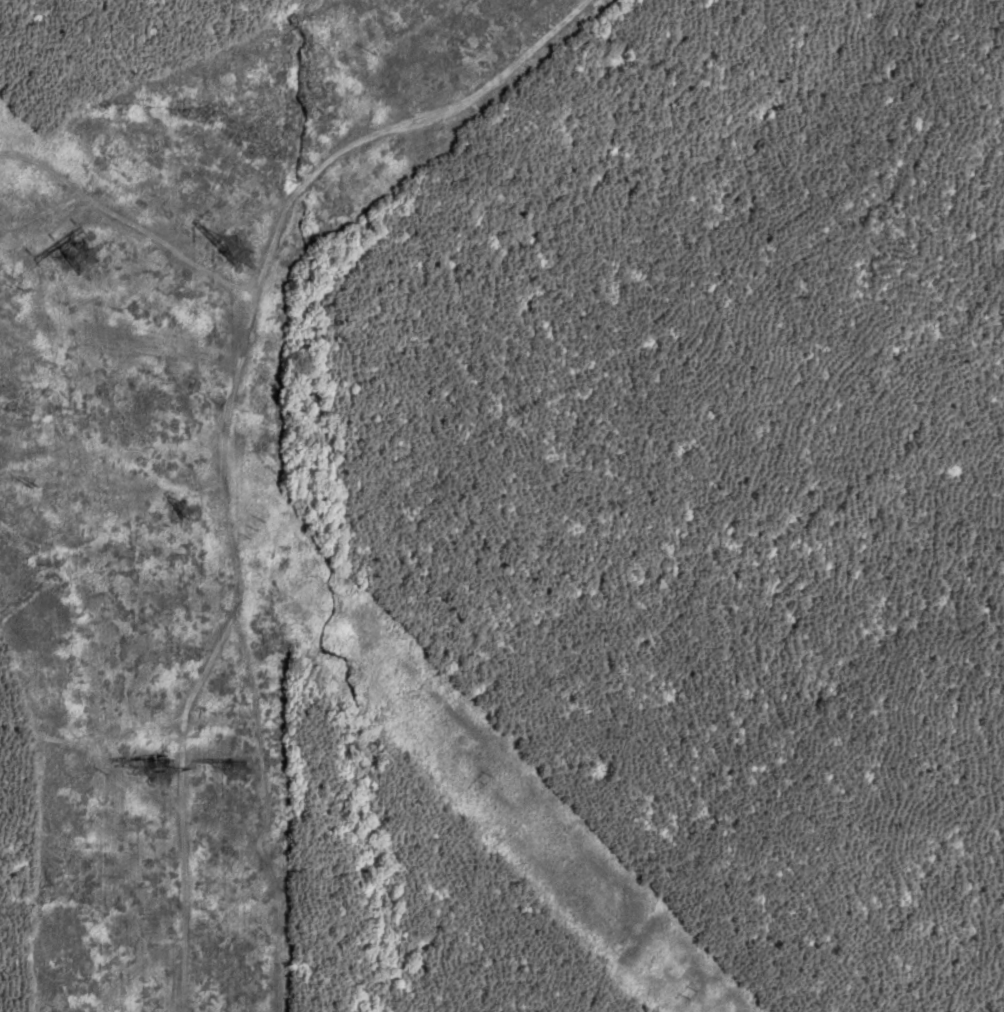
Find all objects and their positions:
power tower: (81, 259)
power tower: (252, 264)
power tower: (183, 509)
power tower: (255, 530)
power tower: (232, 763)
power tower: (159, 772)

